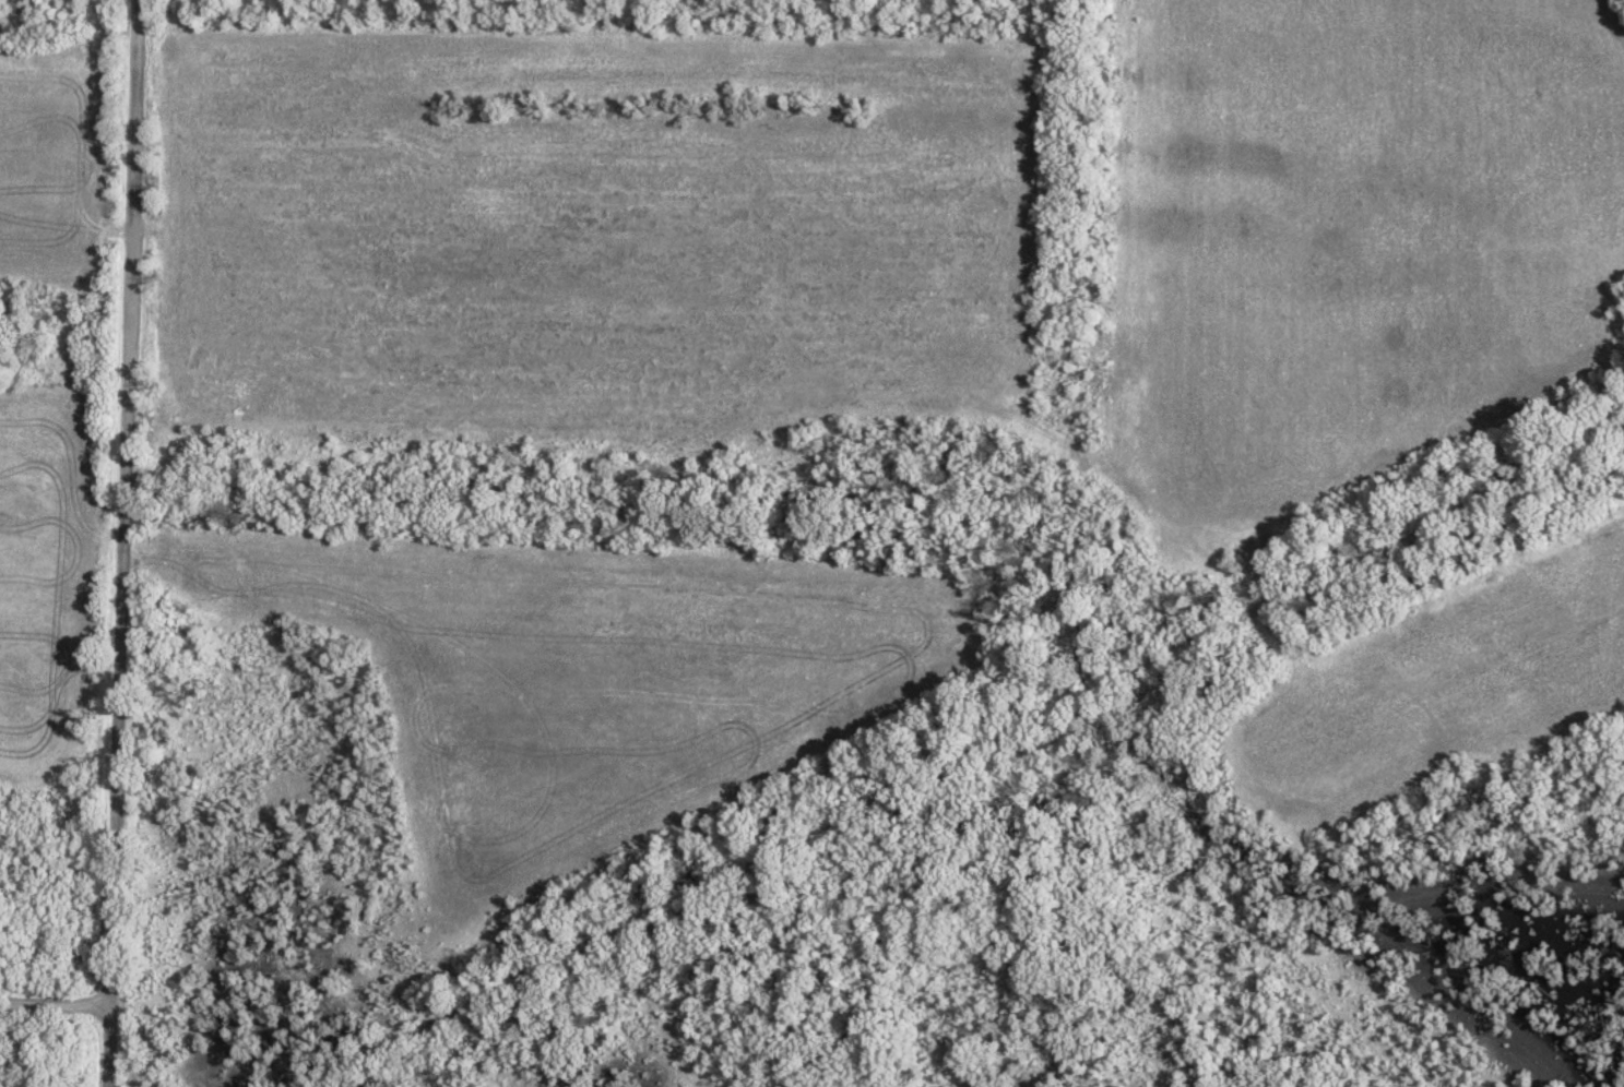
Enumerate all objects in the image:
road: (125, 543)
road: (58, 1005)

